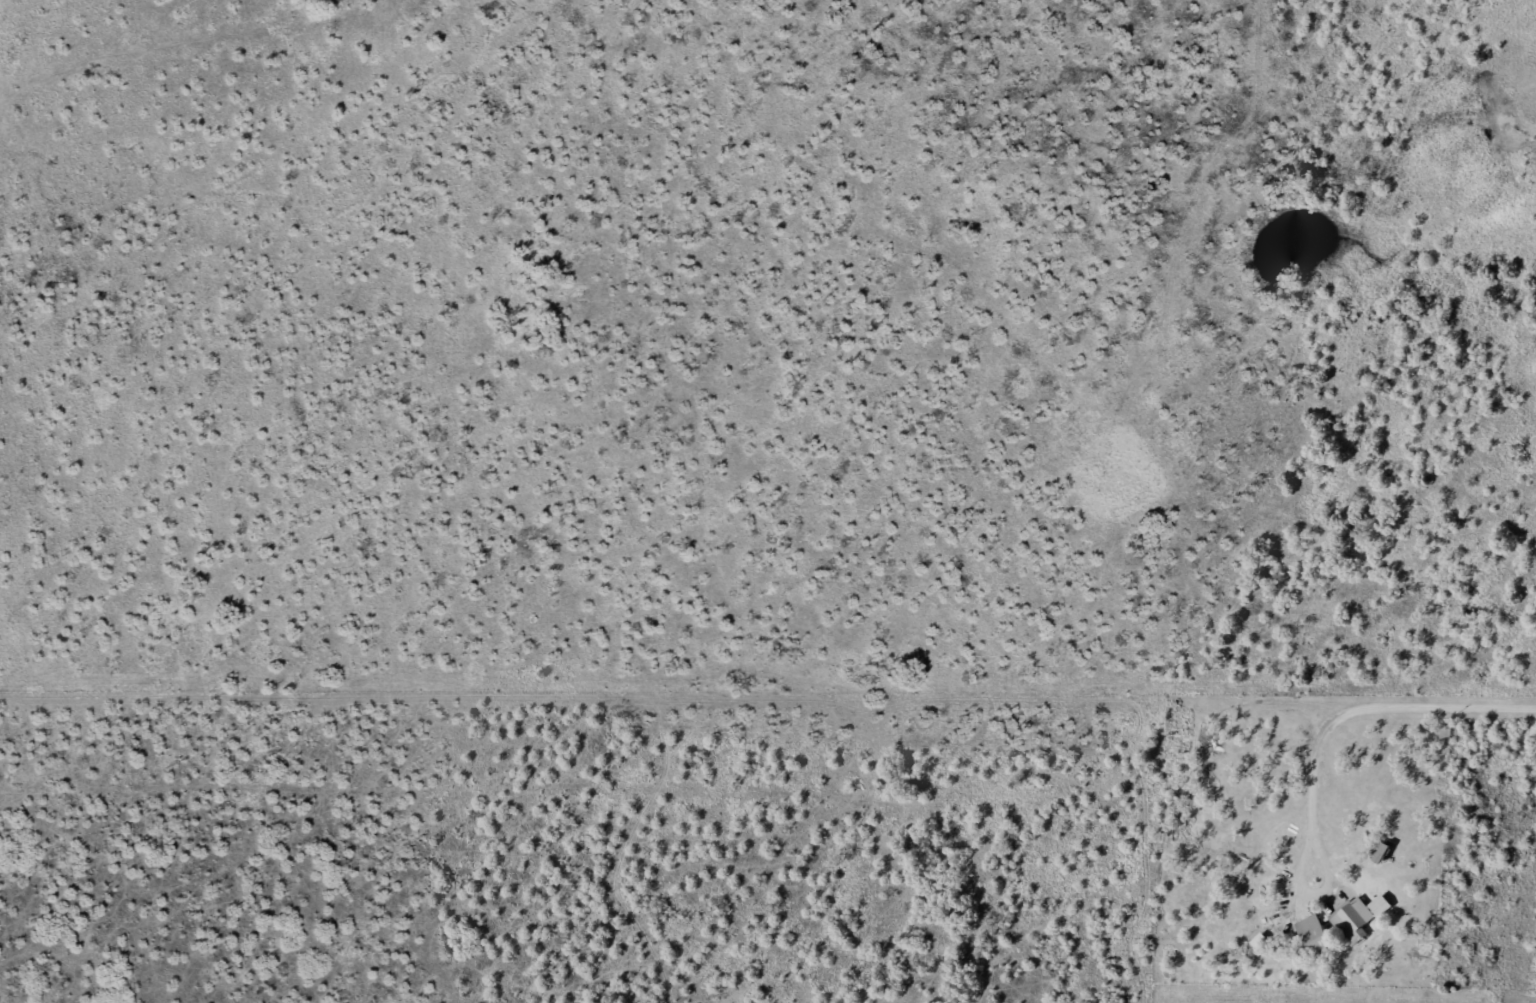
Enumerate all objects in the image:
building: (1380, 856)
building: (1353, 923)
building: (1313, 938)

